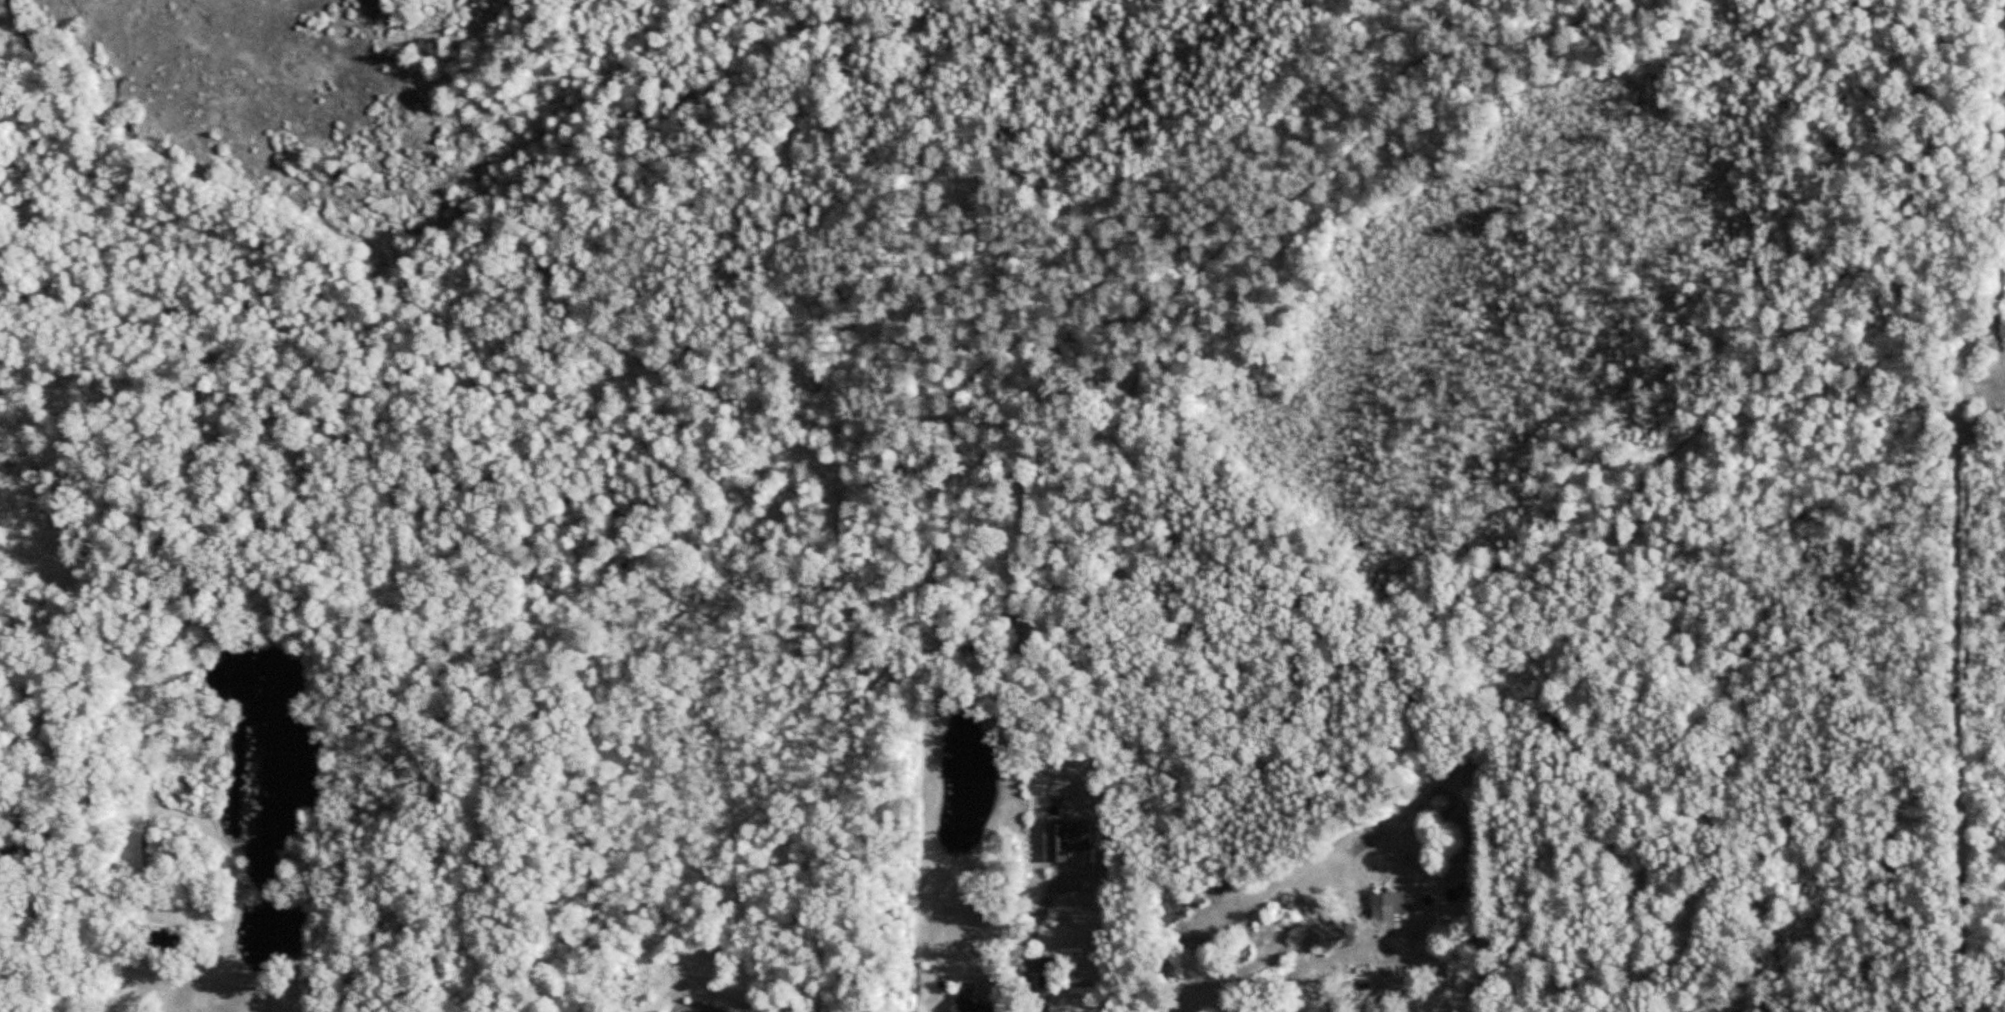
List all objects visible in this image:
road: (1960, 505)
building: (1069, 839)
building: (1389, 909)
building: (972, 1006)

